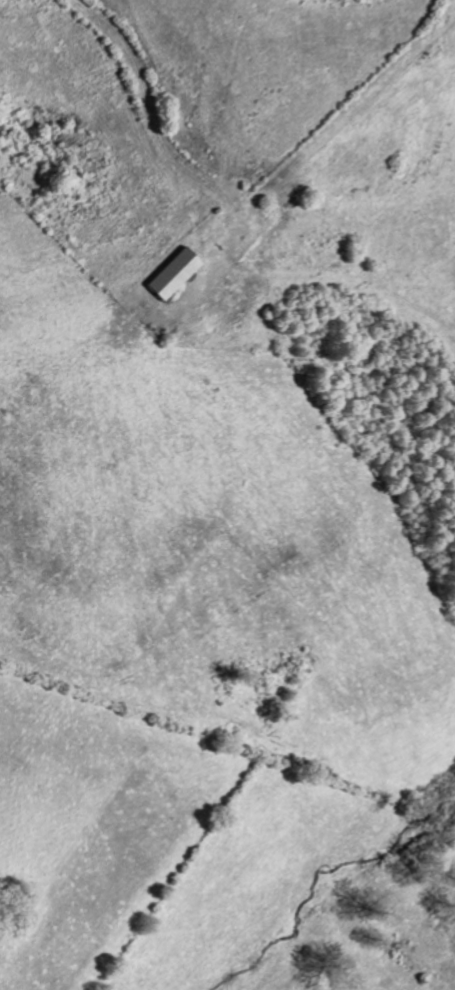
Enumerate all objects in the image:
road: (151, 131)
building: (175, 275)

